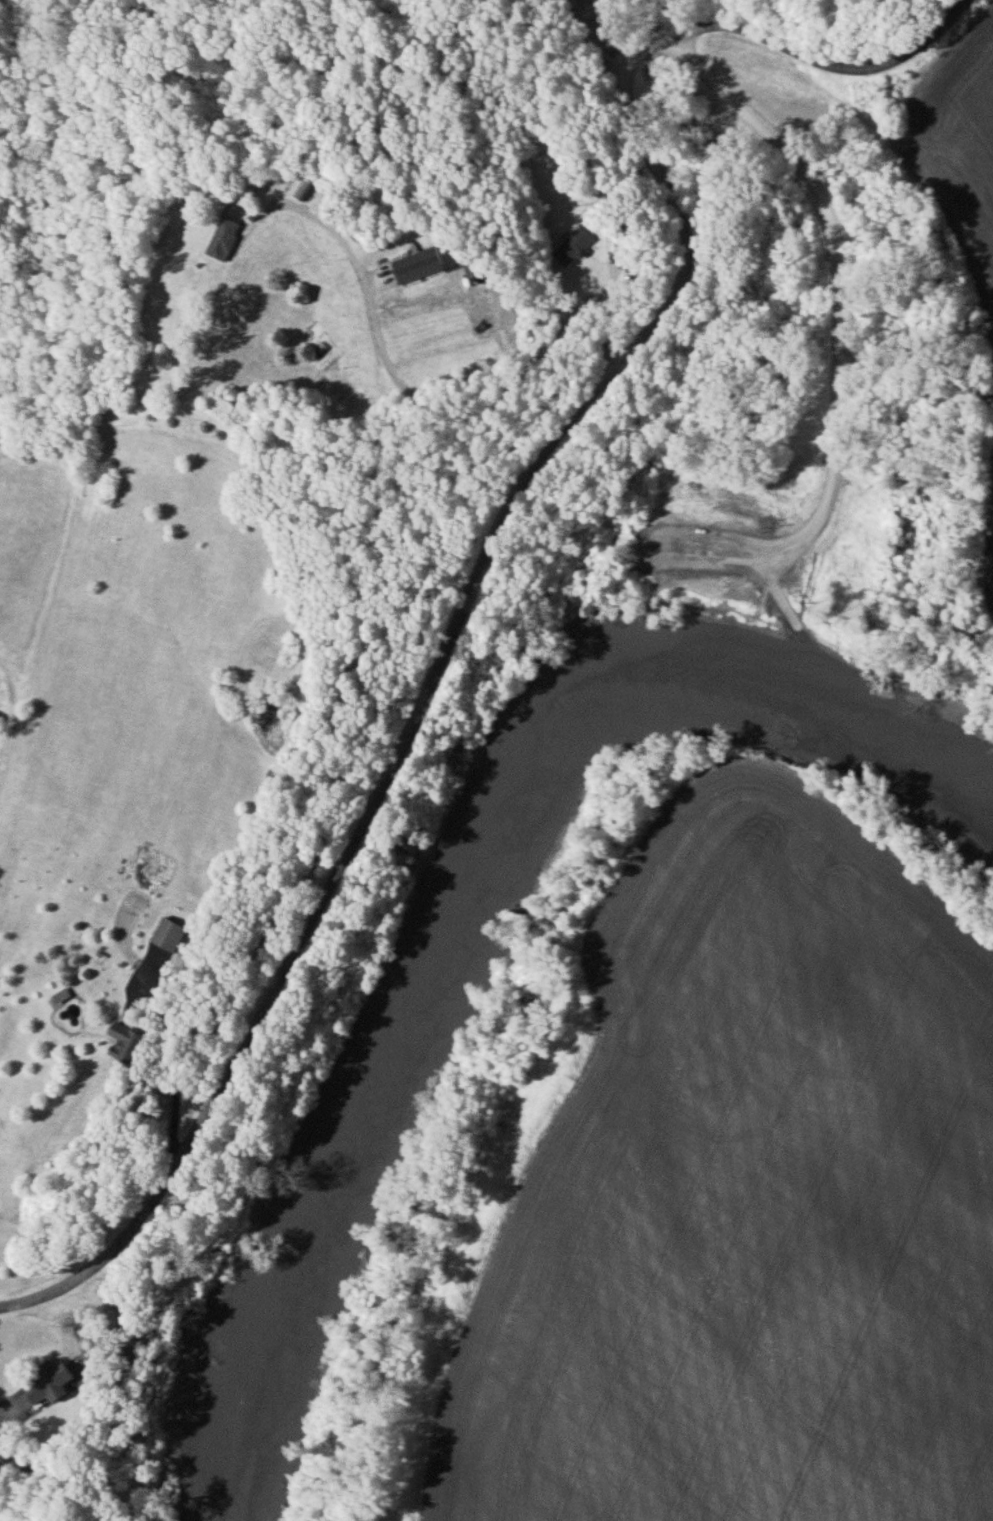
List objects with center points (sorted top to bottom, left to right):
road: (665, 21)
road: (593, 39)
building: (303, 188)
building: (223, 239)
building: (571, 246)
building: (417, 265)
road: (843, 343)
road: (446, 413)
road: (499, 540)
road: (794, 623)
road: (8, 724)
river: (468, 889)
building: (167, 934)
building: (125, 1044)
road: (172, 1070)
building: (47, 1382)
road: (12, 1408)

